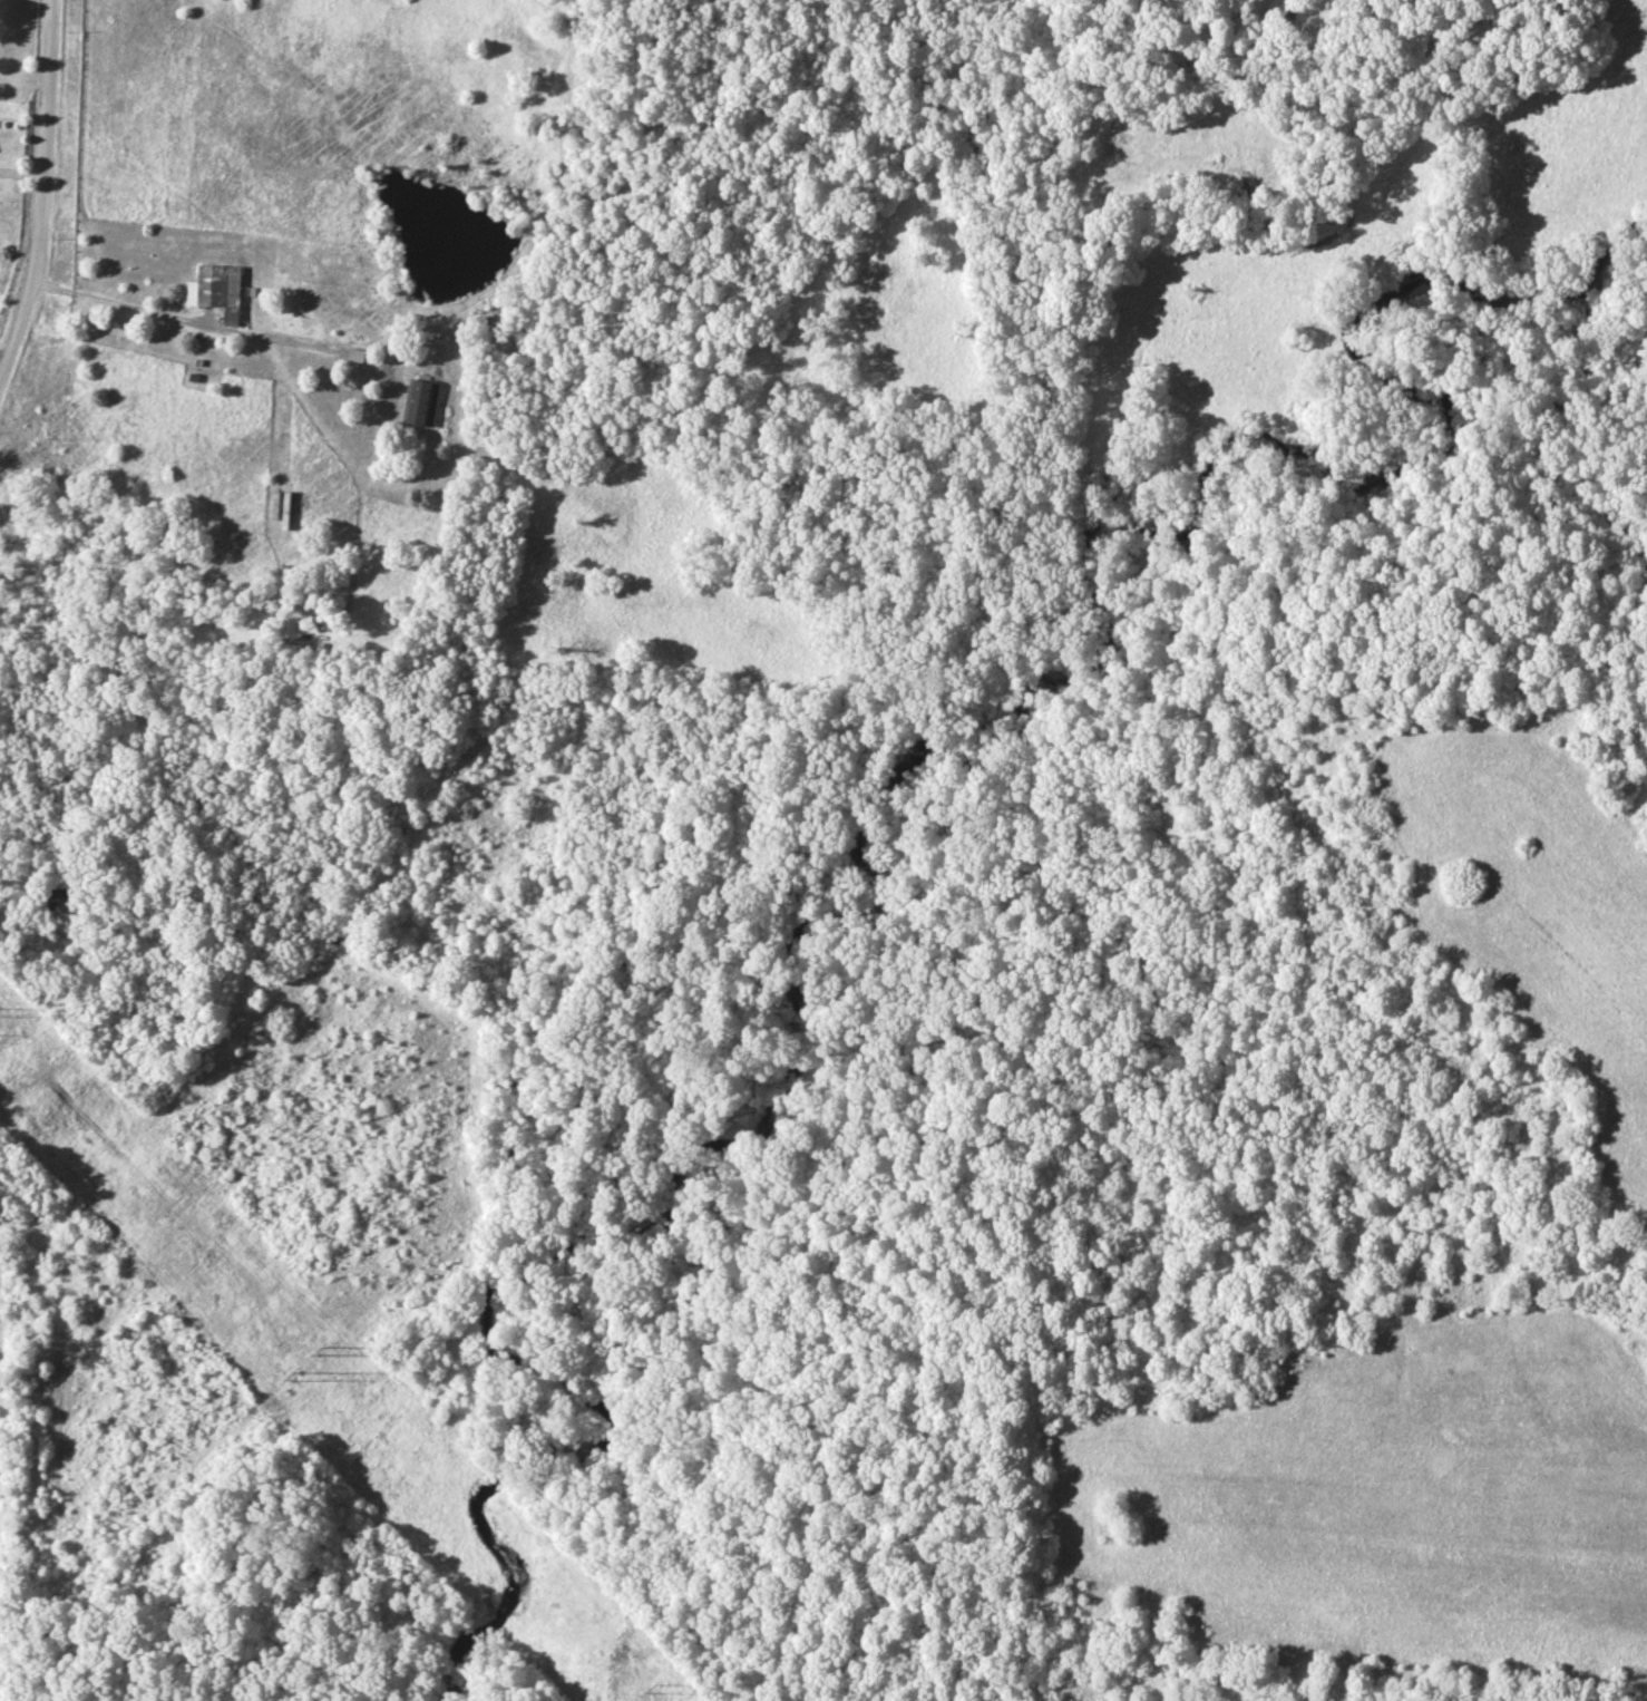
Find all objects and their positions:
road: (43, 197)
building: (222, 289)
road: (179, 318)
building: (358, 356)
building: (425, 404)
building: (61, 901)
power tower: (325, 1352)
power tower: (298, 1377)
power tower: (655, 1692)

